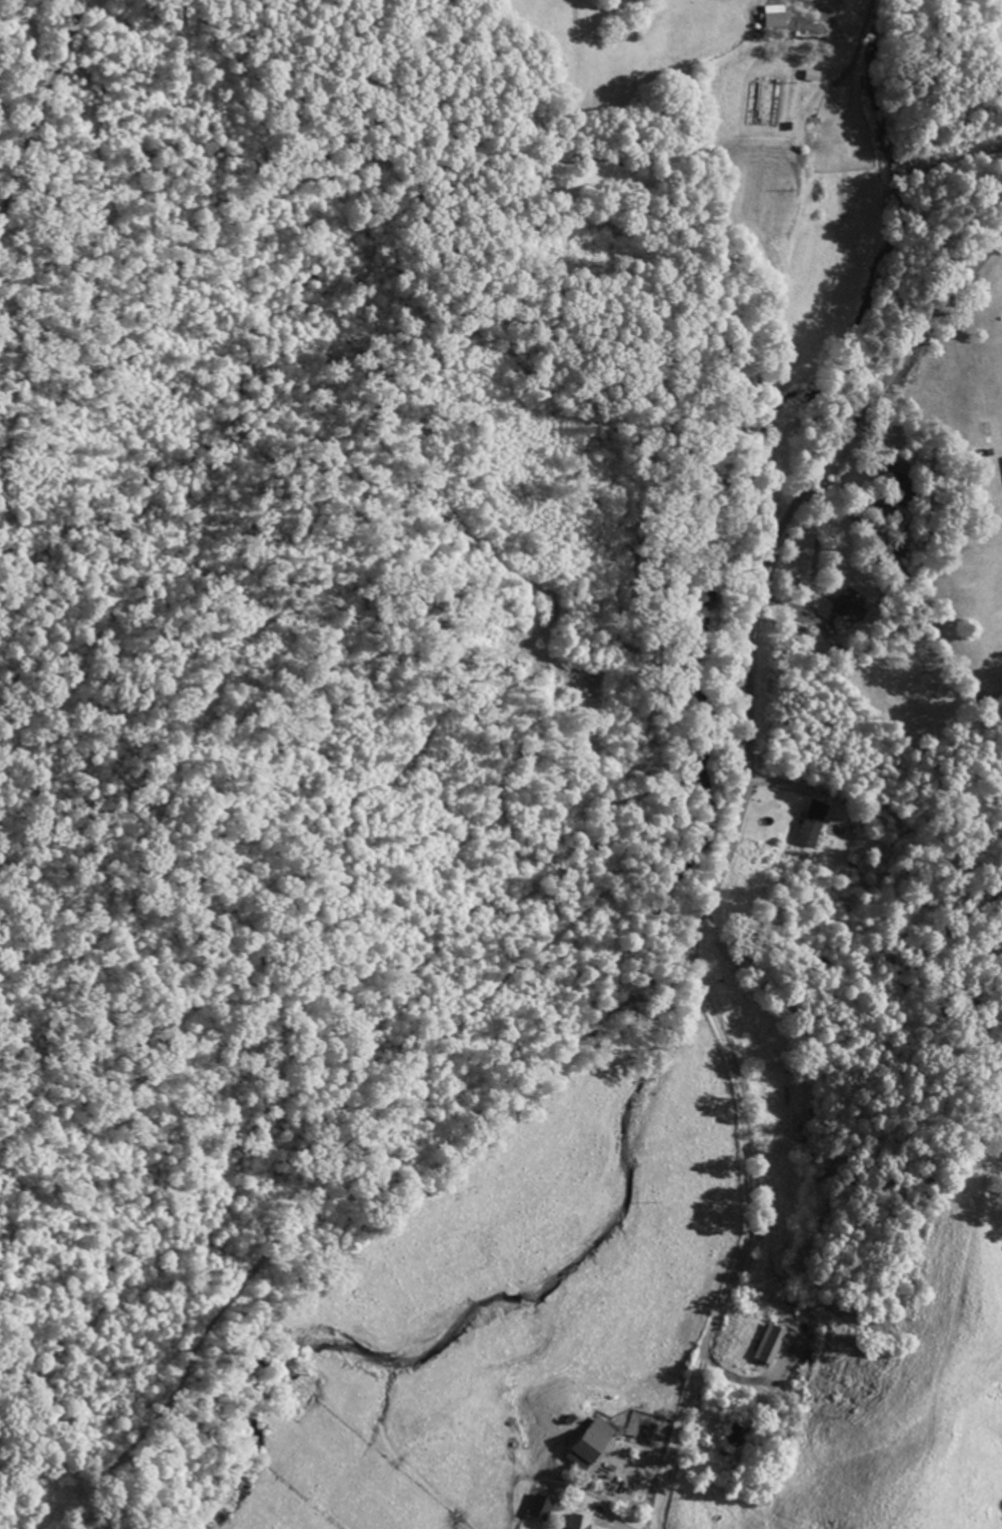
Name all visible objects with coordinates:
road: (868, 7)
building: (777, 19)
road: (99, 146)
road: (789, 516)
building: (853, 608)
building: (814, 826)
road: (748, 1195)
building: (773, 1347)
building: (589, 1453)
building: (543, 1510)
building: (581, 1523)

